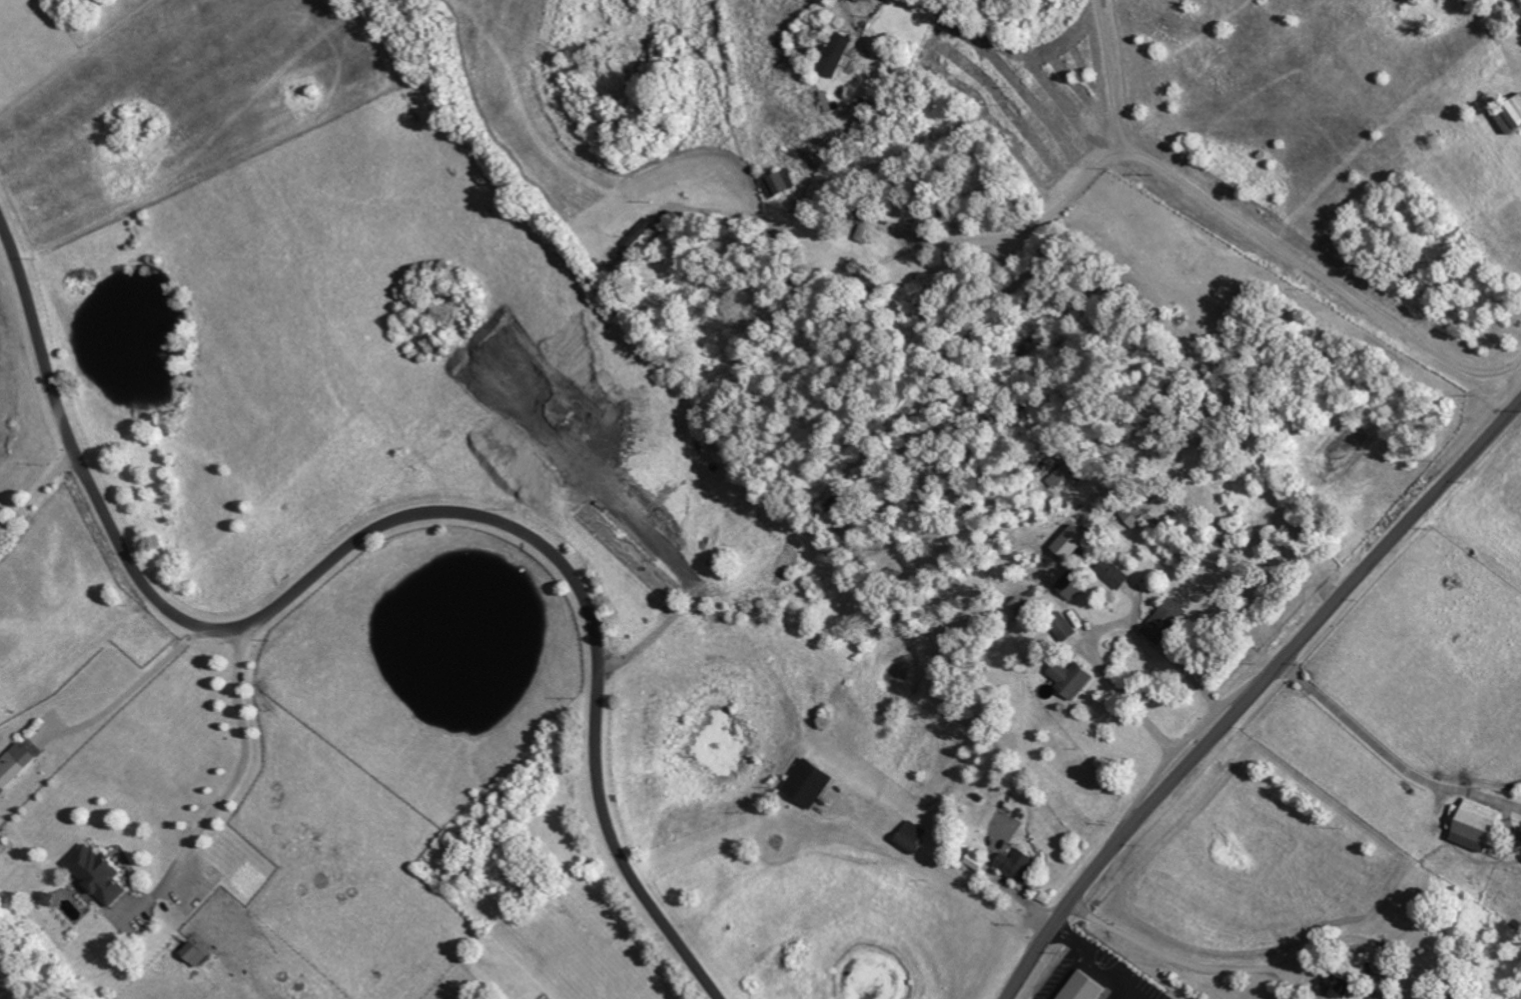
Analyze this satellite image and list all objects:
road: (849, 5)
building: (838, 55)
road: (1107, 75)
building: (1511, 116)
building: (778, 185)
road: (1206, 192)
building: (642, 233)
road: (794, 264)
road: (36, 498)
road: (375, 534)
building: (1072, 543)
building: (1114, 574)
building: (1074, 585)
road: (729, 604)
building: (1166, 623)
road: (1092, 649)
building: (1072, 680)
road: (1254, 693)
road: (130, 694)
road: (1391, 755)
building: (15, 765)
building: (811, 784)
road: (230, 786)
building: (1479, 826)
building: (914, 838)
building: (978, 862)
building: (1018, 865)
building: (100, 875)
road: (1072, 938)
building: (195, 954)
road: (1109, 966)
road: (1229, 967)
road: (1071, 974)
building: (1337, 986)
building: (1083, 988)
road: (1122, 990)

